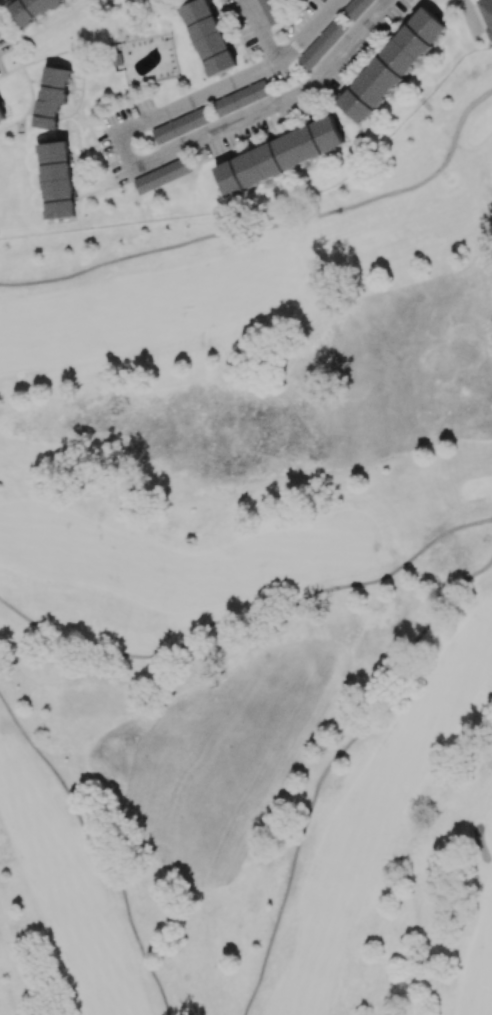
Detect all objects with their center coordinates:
building: (31, 8)
road: (470, 16)
road: (262, 31)
road: (310, 31)
building: (118, 61)
building: (51, 96)
building: (180, 126)
road: (177, 148)
building: (161, 176)
building: (57, 180)
road: (269, 225)
park: (254, 597)
road: (245, 619)
road: (330, 765)
road: (96, 850)

